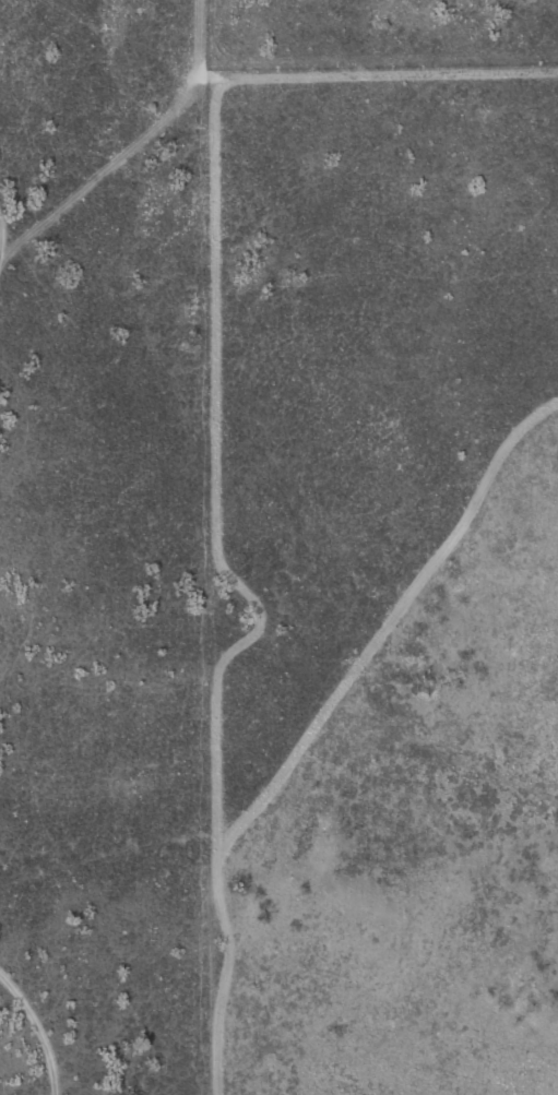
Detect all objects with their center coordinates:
road: (19, 1046)

